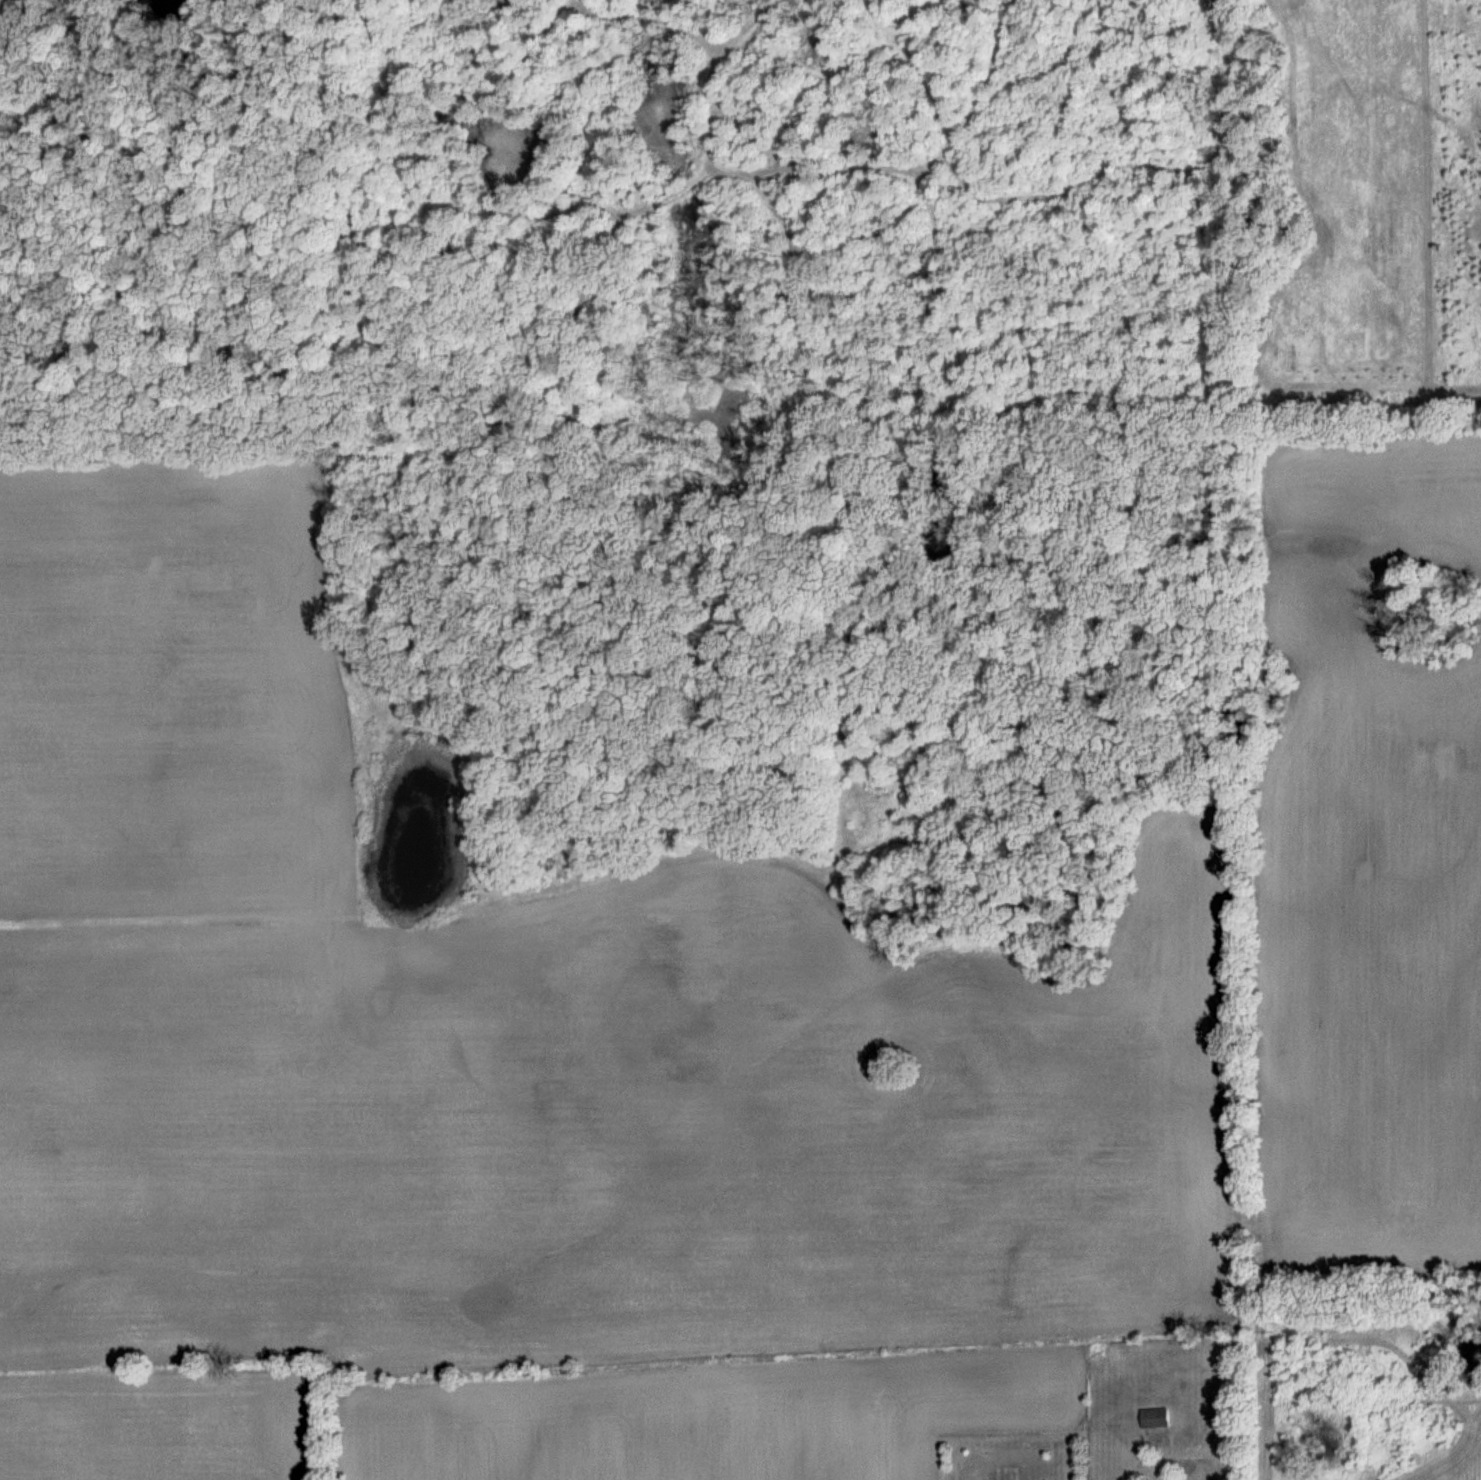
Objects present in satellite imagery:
crop: (1370, 632)
building: (1155, 1420)

